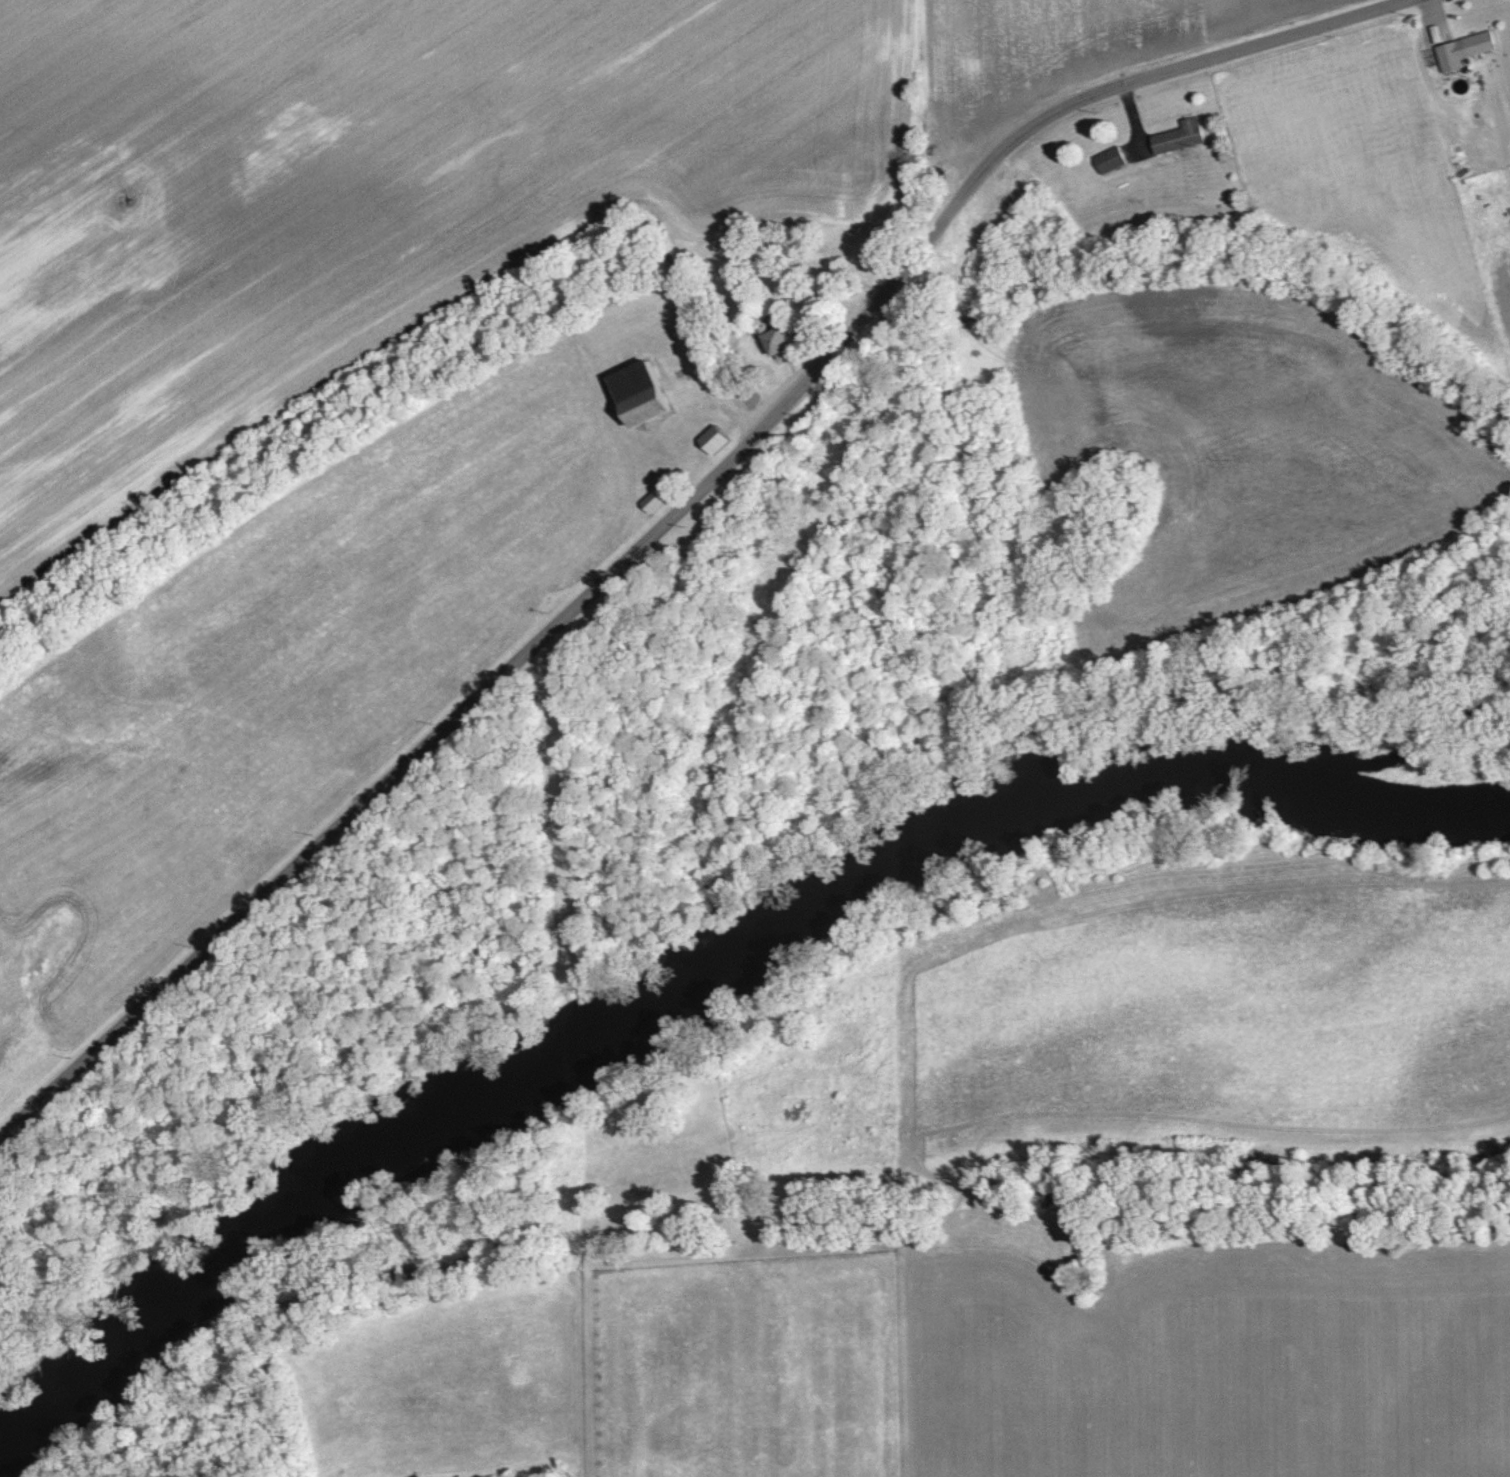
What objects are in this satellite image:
building: (1460, 50)
building: (1176, 137)
building: (1107, 160)
building: (774, 343)
building: (633, 394)
building: (709, 439)
building: (650, 500)
road: (675, 510)
river: (714, 991)

